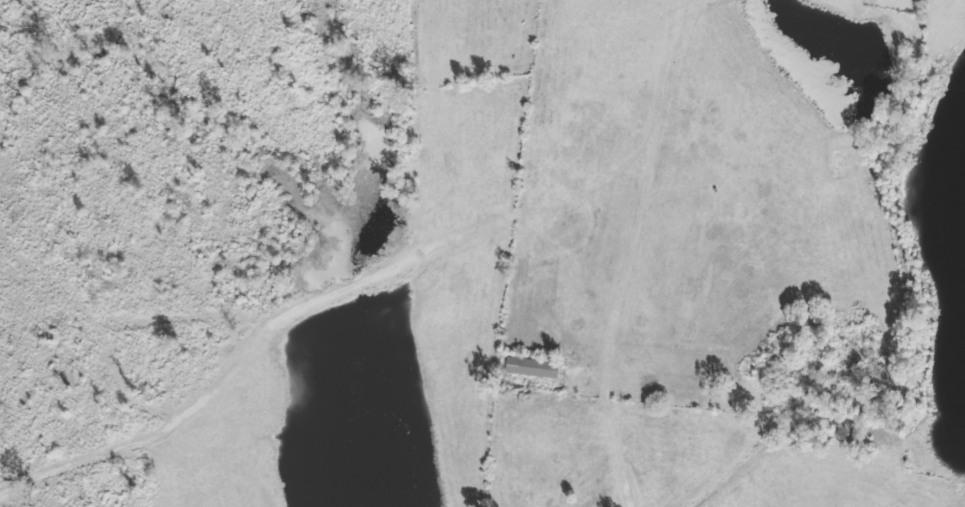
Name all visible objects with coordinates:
building: (530, 365)

